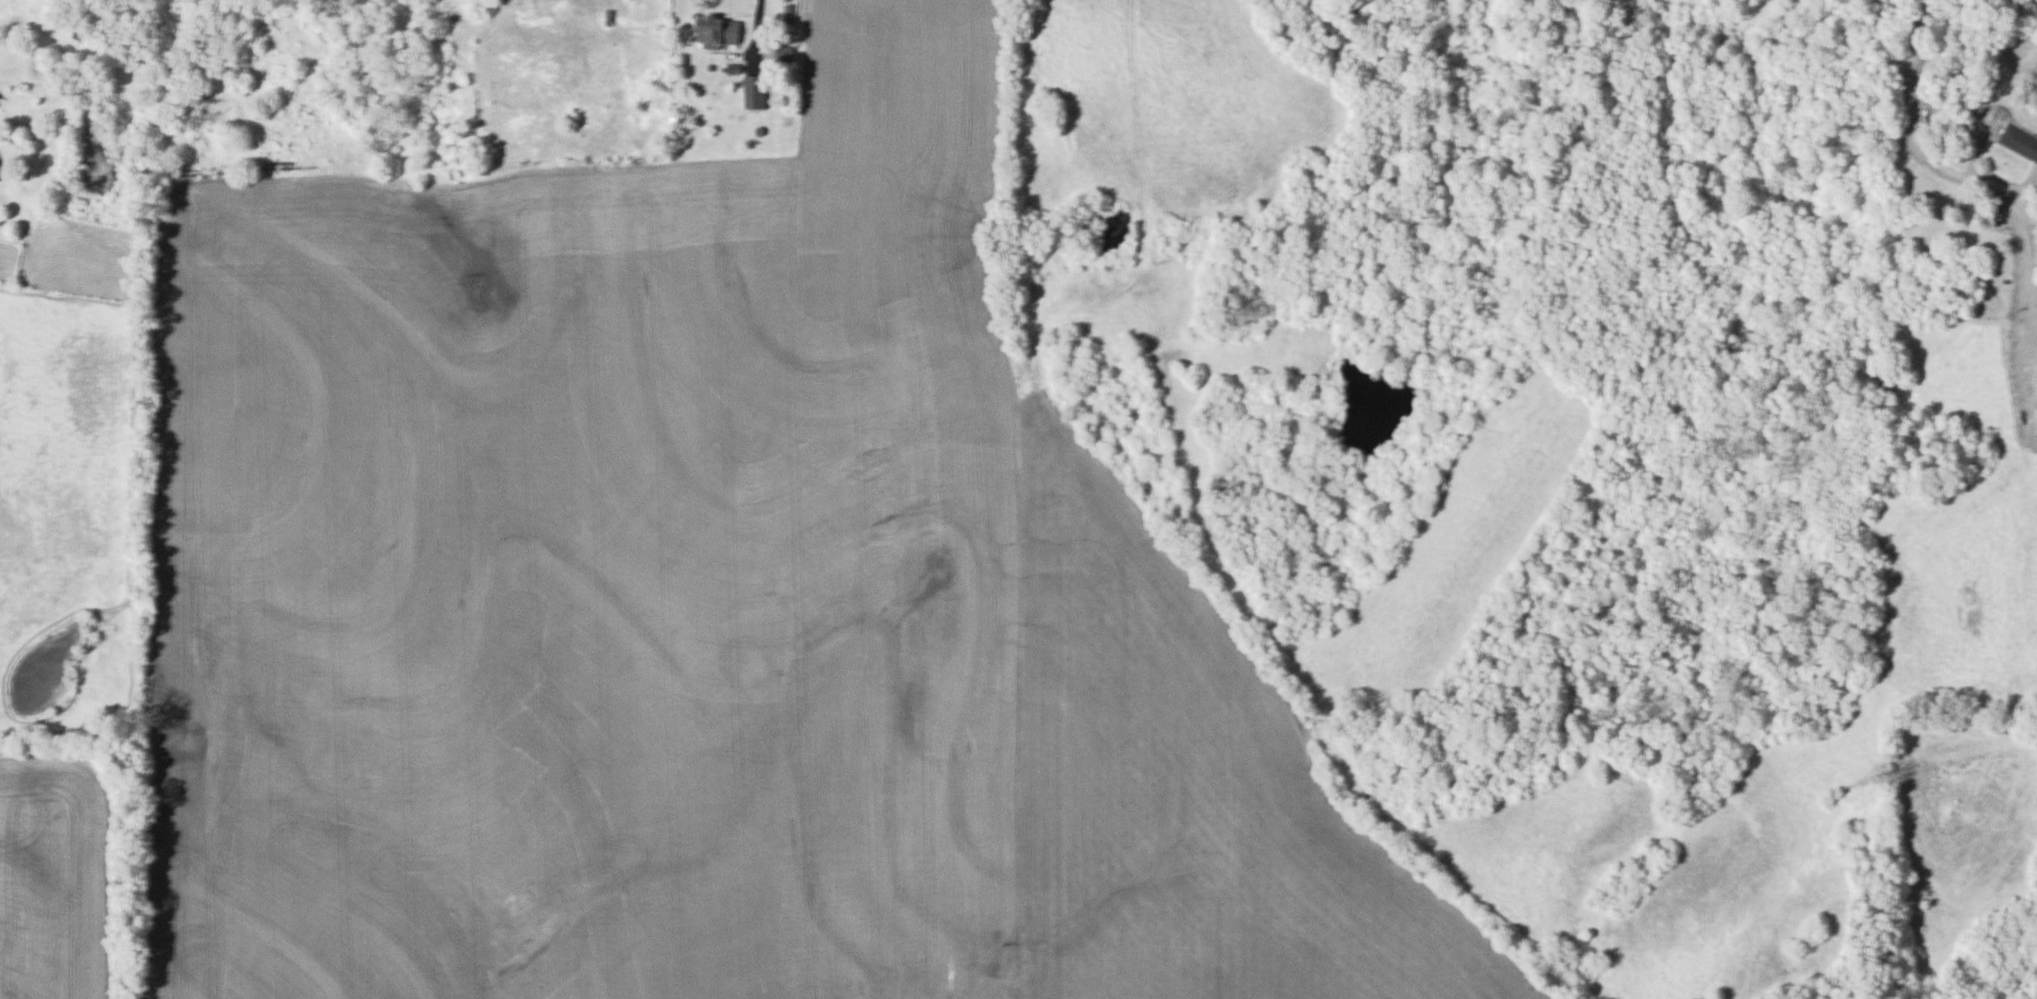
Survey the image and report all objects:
building: (714, 31)
road: (760, 31)
building: (781, 53)
building: (6, 84)
building: (751, 92)
building: (2018, 142)
building: (1, 177)
road: (1980, 179)

